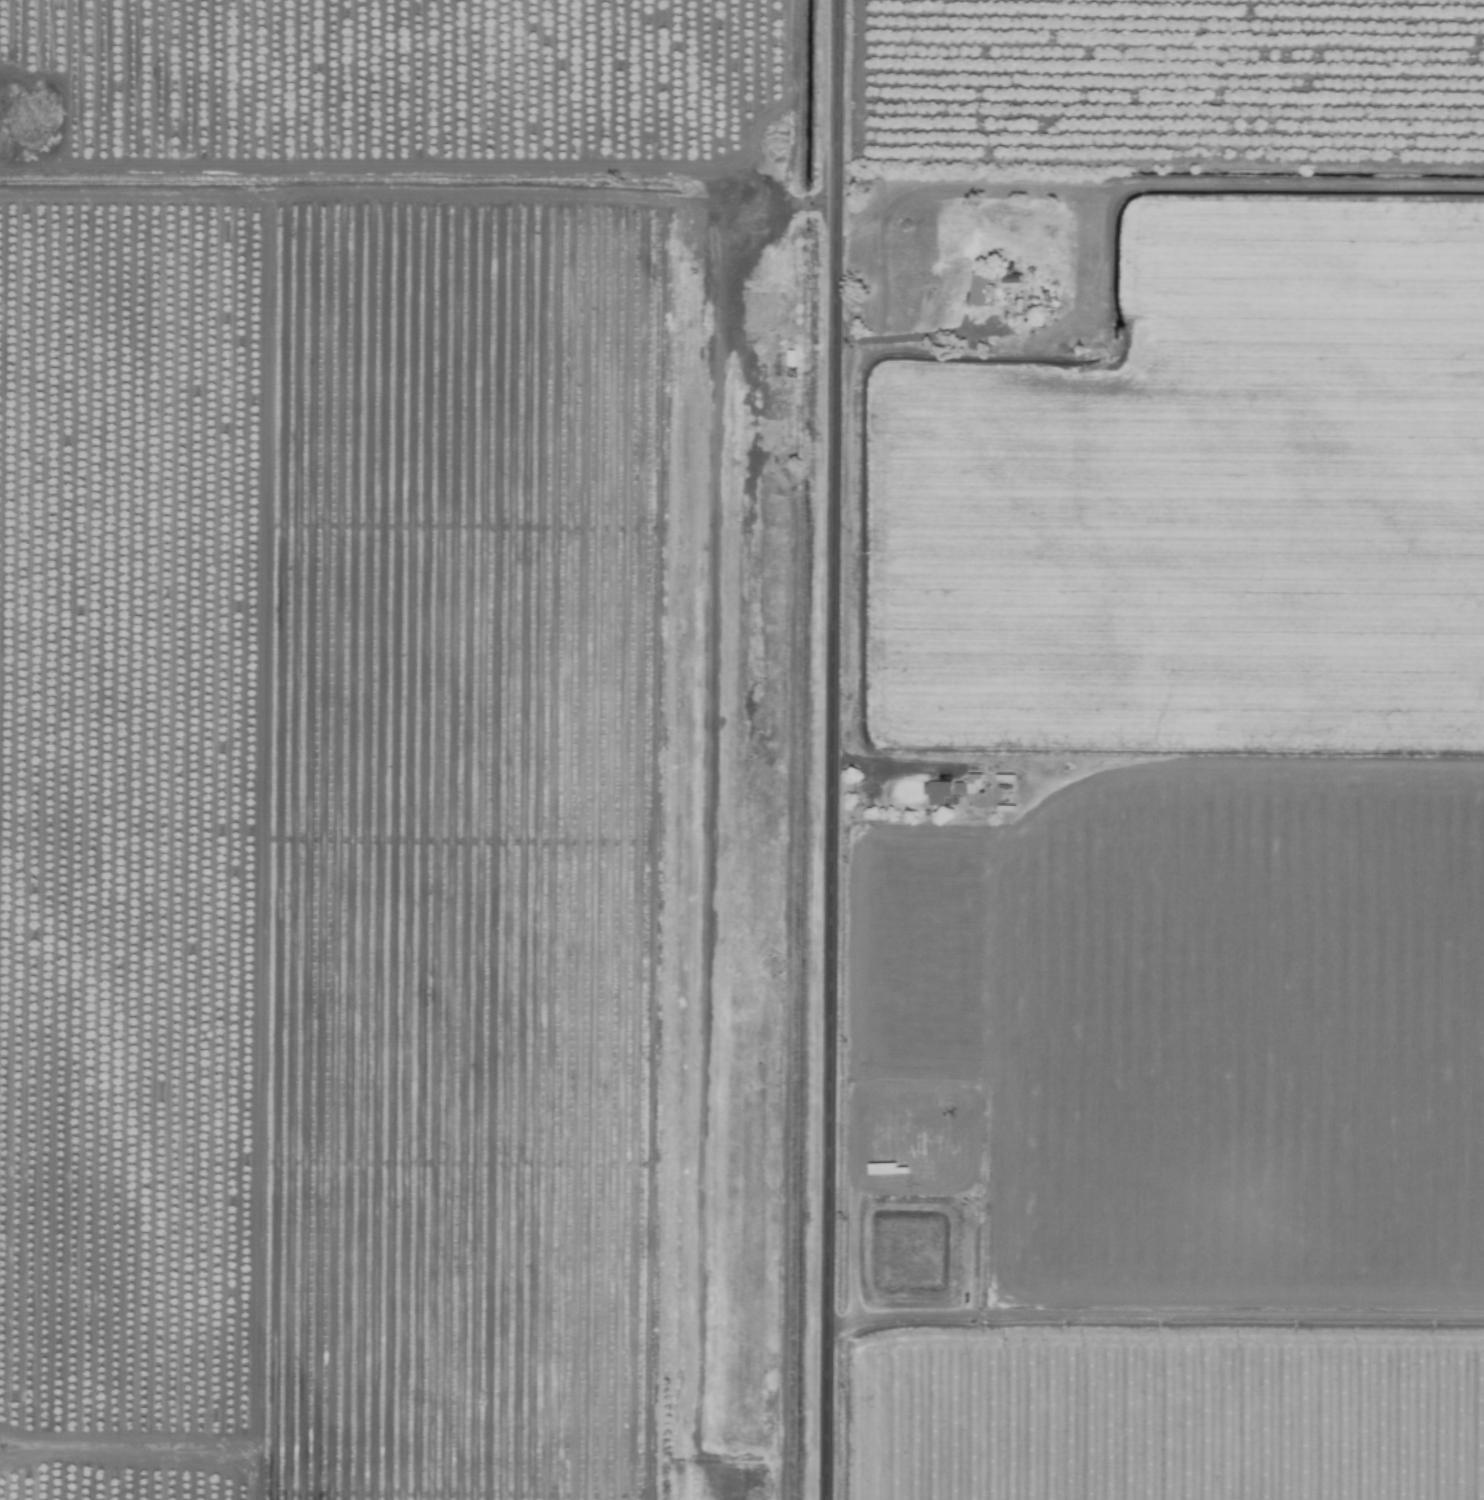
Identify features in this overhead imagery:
building: (977, 288)
road: (910, 343)
road: (830, 749)
road: (1003, 769)
building: (937, 791)
airport: (821, 793)
airport runway: (697, 842)
road: (326, 1464)

